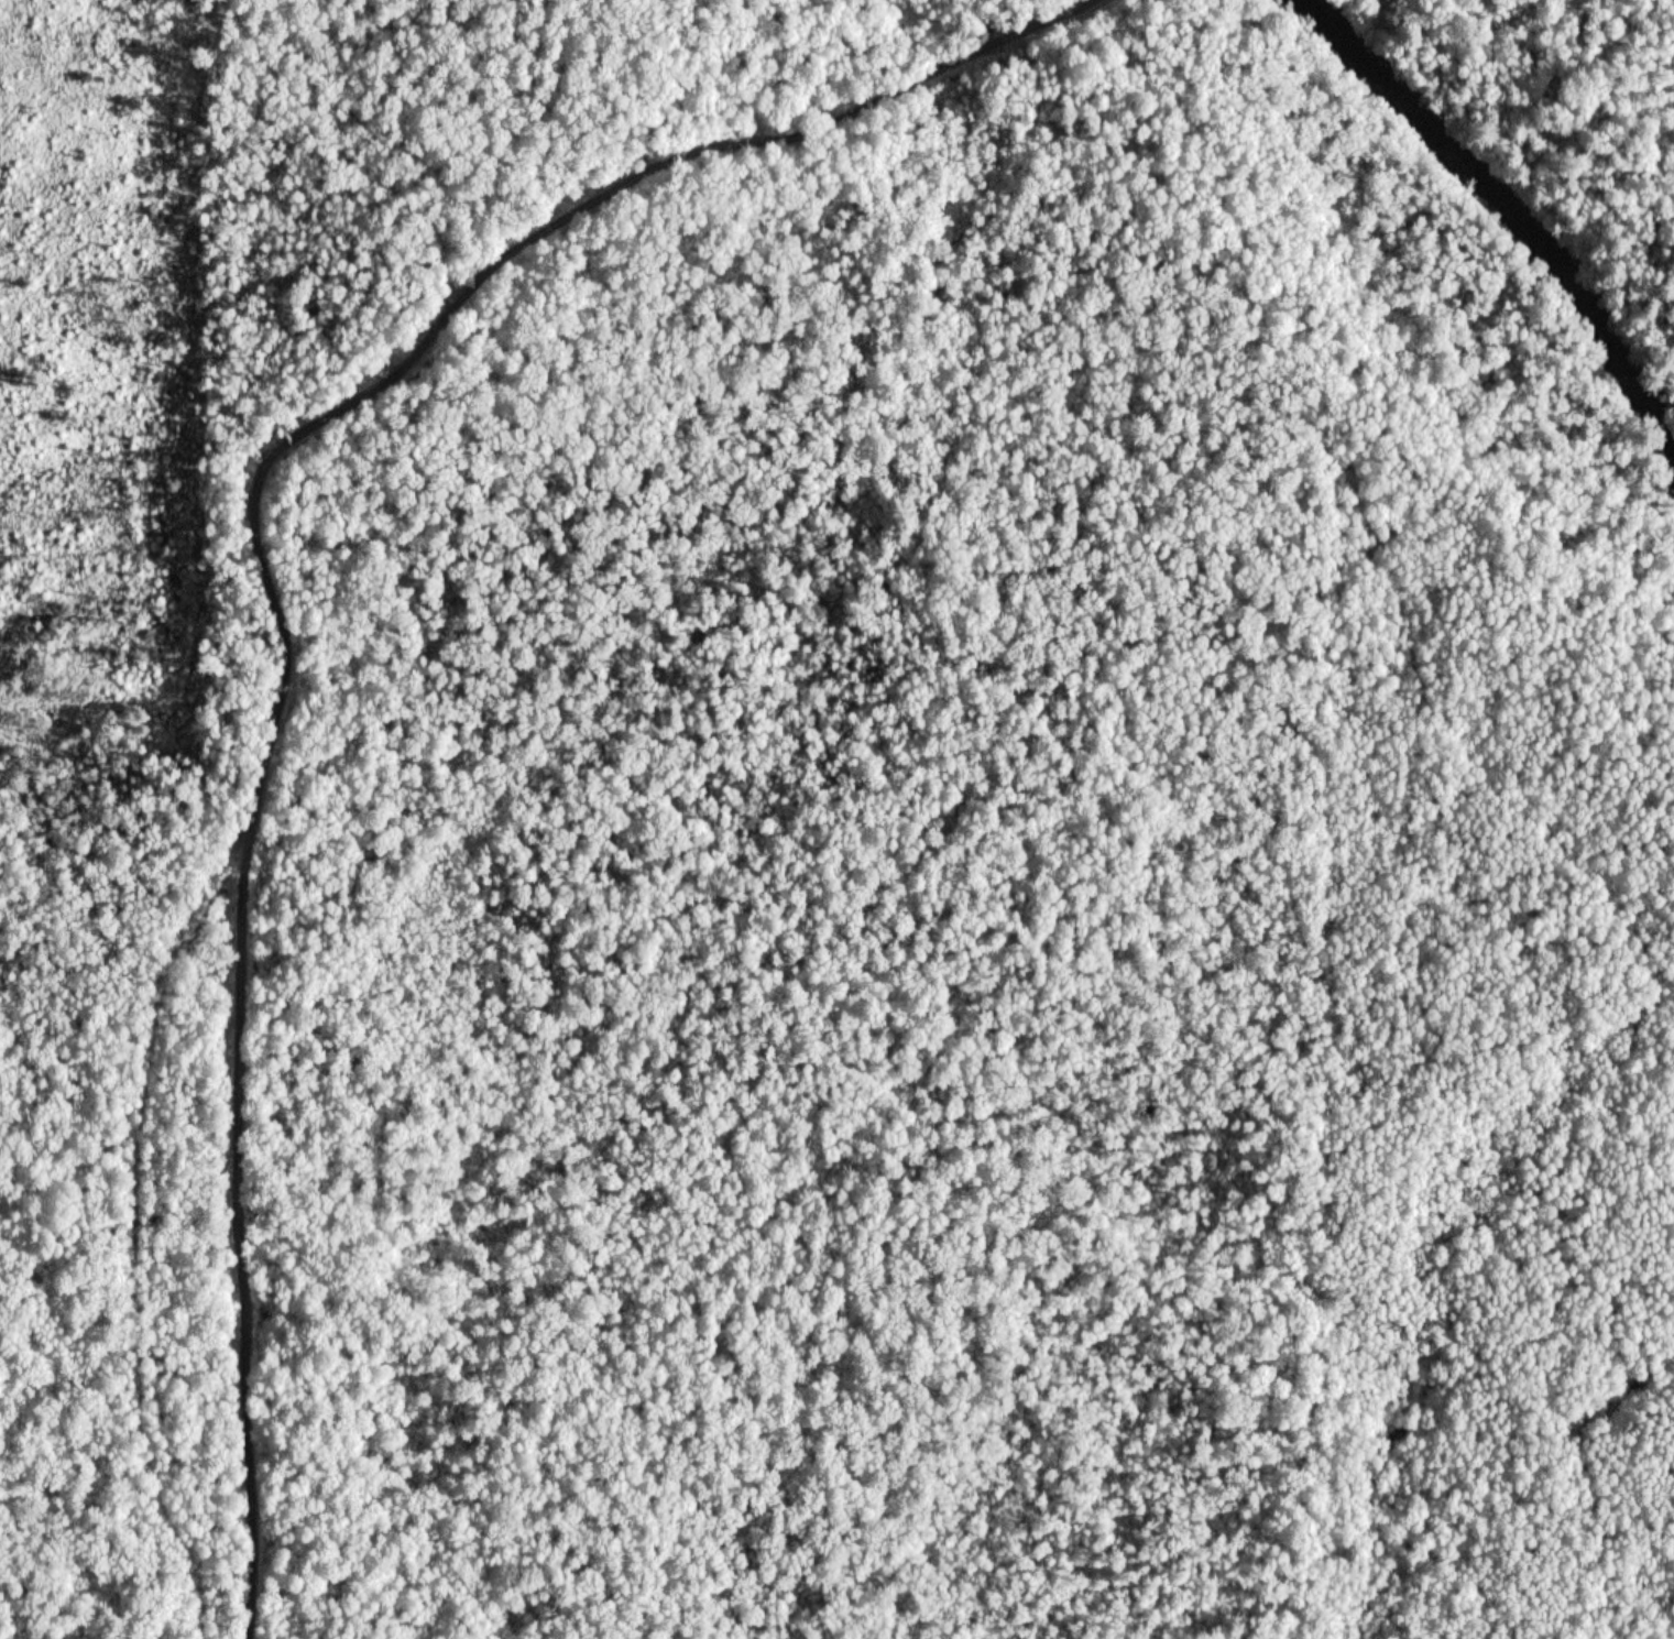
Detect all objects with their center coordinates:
river: (1509, 217)
road: (267, 588)

